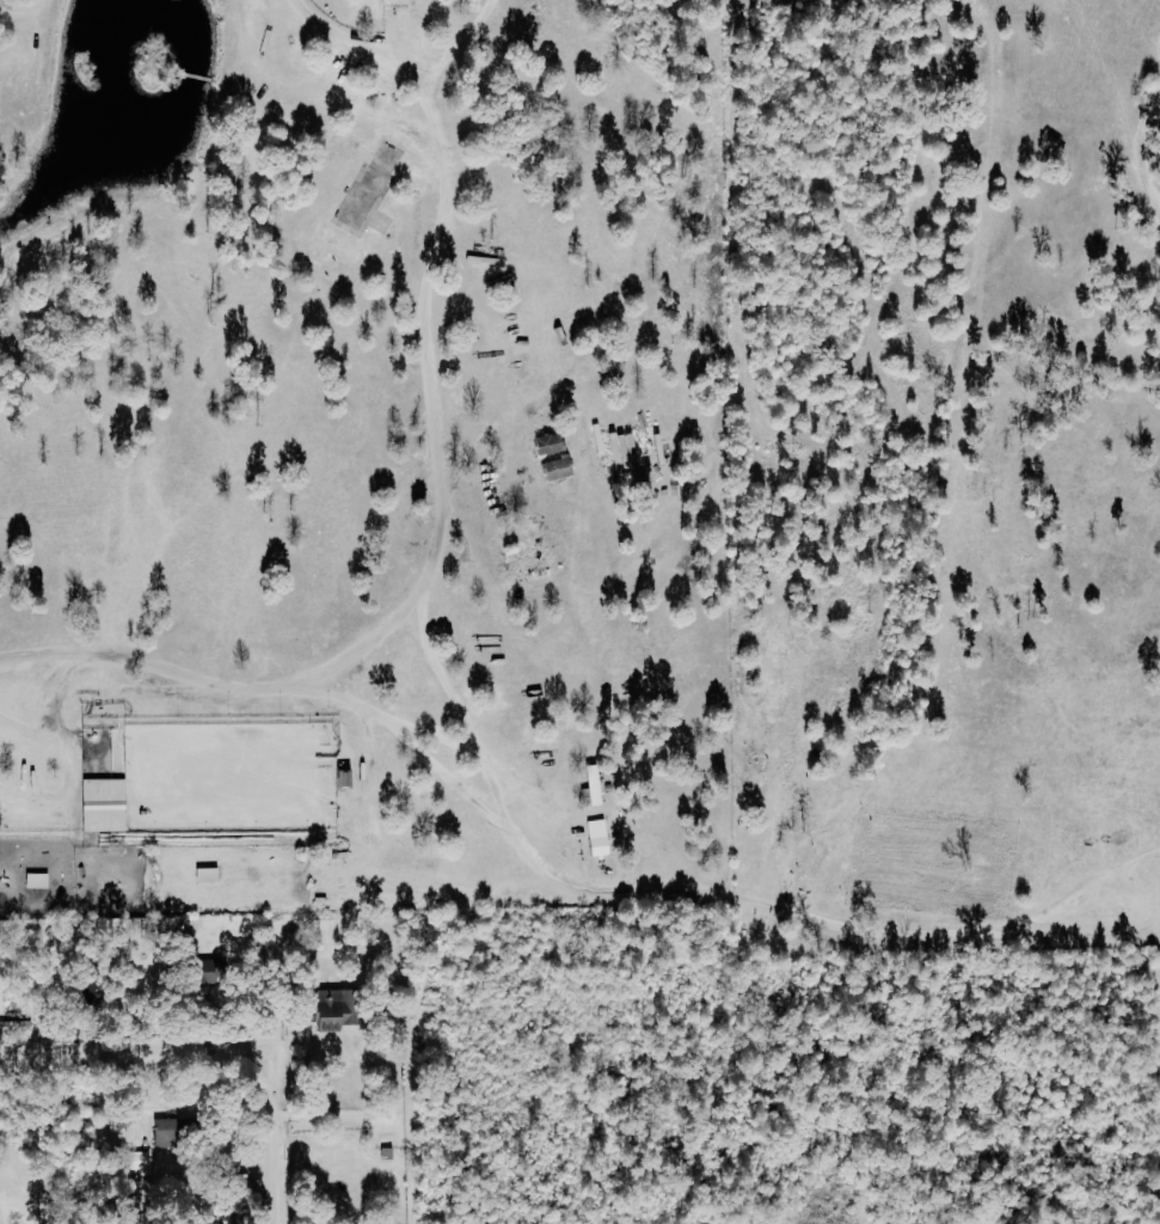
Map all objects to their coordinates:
road: (14, 4)
road: (337, 27)
building: (545, 445)
building: (557, 479)
road: (430, 503)
road: (452, 720)
building: (337, 777)
building: (588, 787)
building: (99, 804)
building: (594, 837)
building: (203, 874)
building: (33, 880)
building: (196, 972)
building: (330, 1009)
road: (204, 1058)
road: (374, 1114)
building: (165, 1132)
building: (136, 1162)

